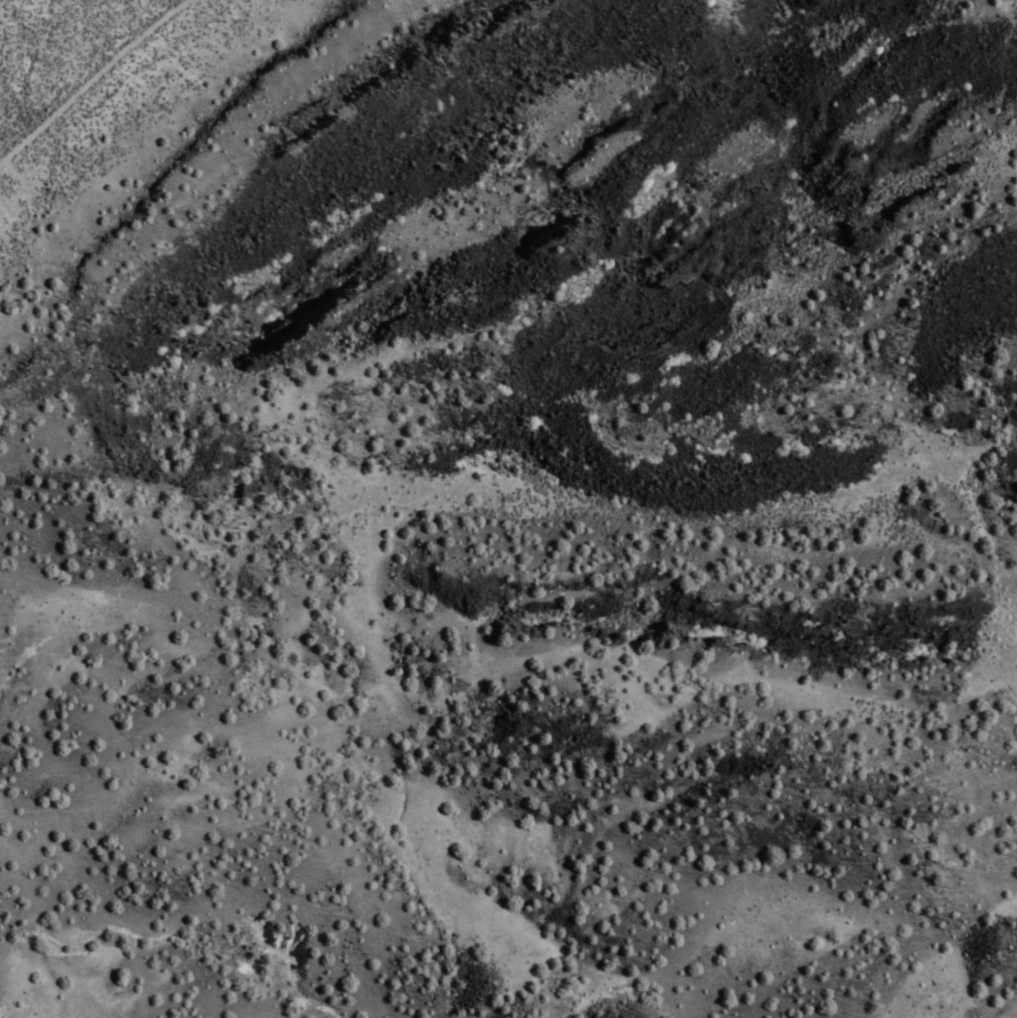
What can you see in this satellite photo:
road: (39, 22)
road: (490, 615)
road: (502, 794)

